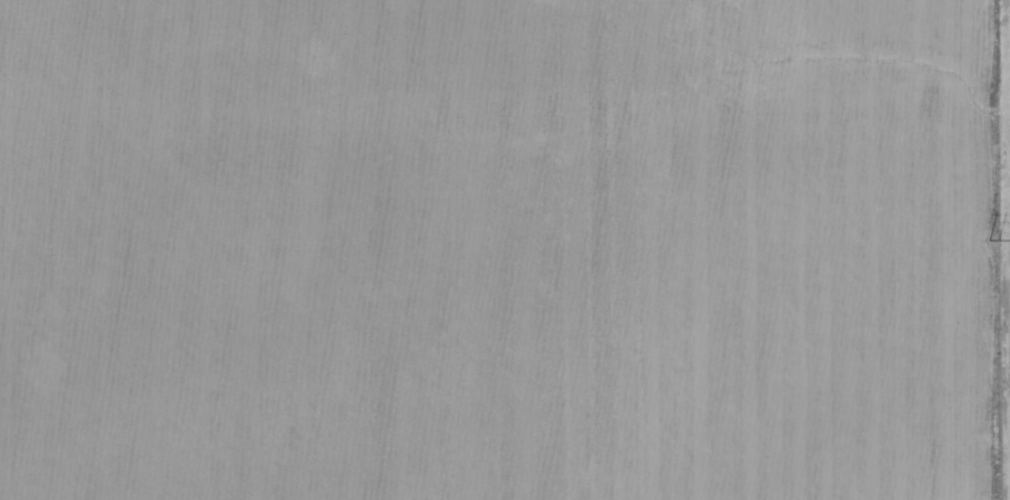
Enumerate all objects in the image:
power tower: (991, 111)
power tower: (992, 429)

